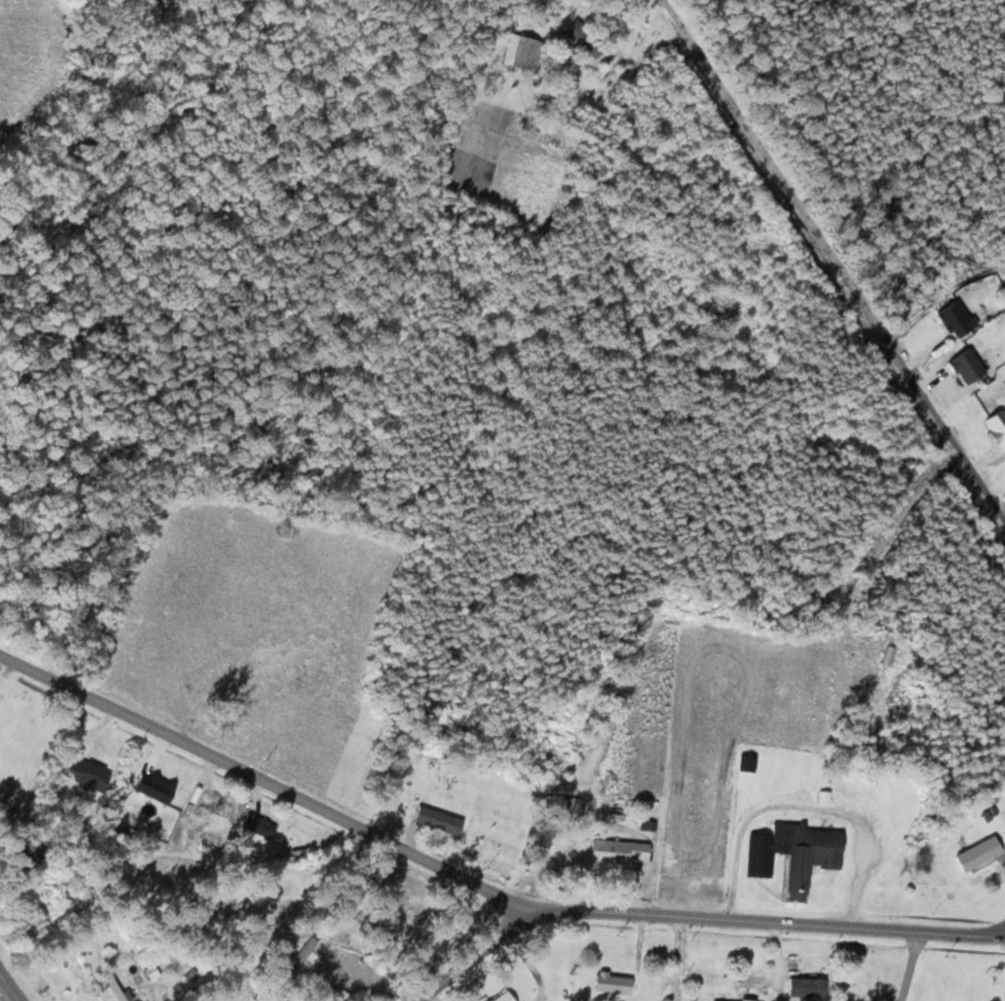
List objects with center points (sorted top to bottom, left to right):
road: (263, 1)
building: (584, 37)
building: (528, 49)
road: (835, 255)
building: (747, 763)
building: (86, 773)
building: (212, 806)
building: (563, 809)
building: (438, 820)
building: (257, 827)
building: (209, 842)
building: (617, 851)
building: (794, 853)
building: (978, 854)
road: (480, 883)
building: (223, 904)
building: (390, 910)
road: (477, 954)
building: (298, 956)
building: (612, 983)
building: (806, 986)
building: (109, 992)
road: (3, 996)
building: (503, 997)

